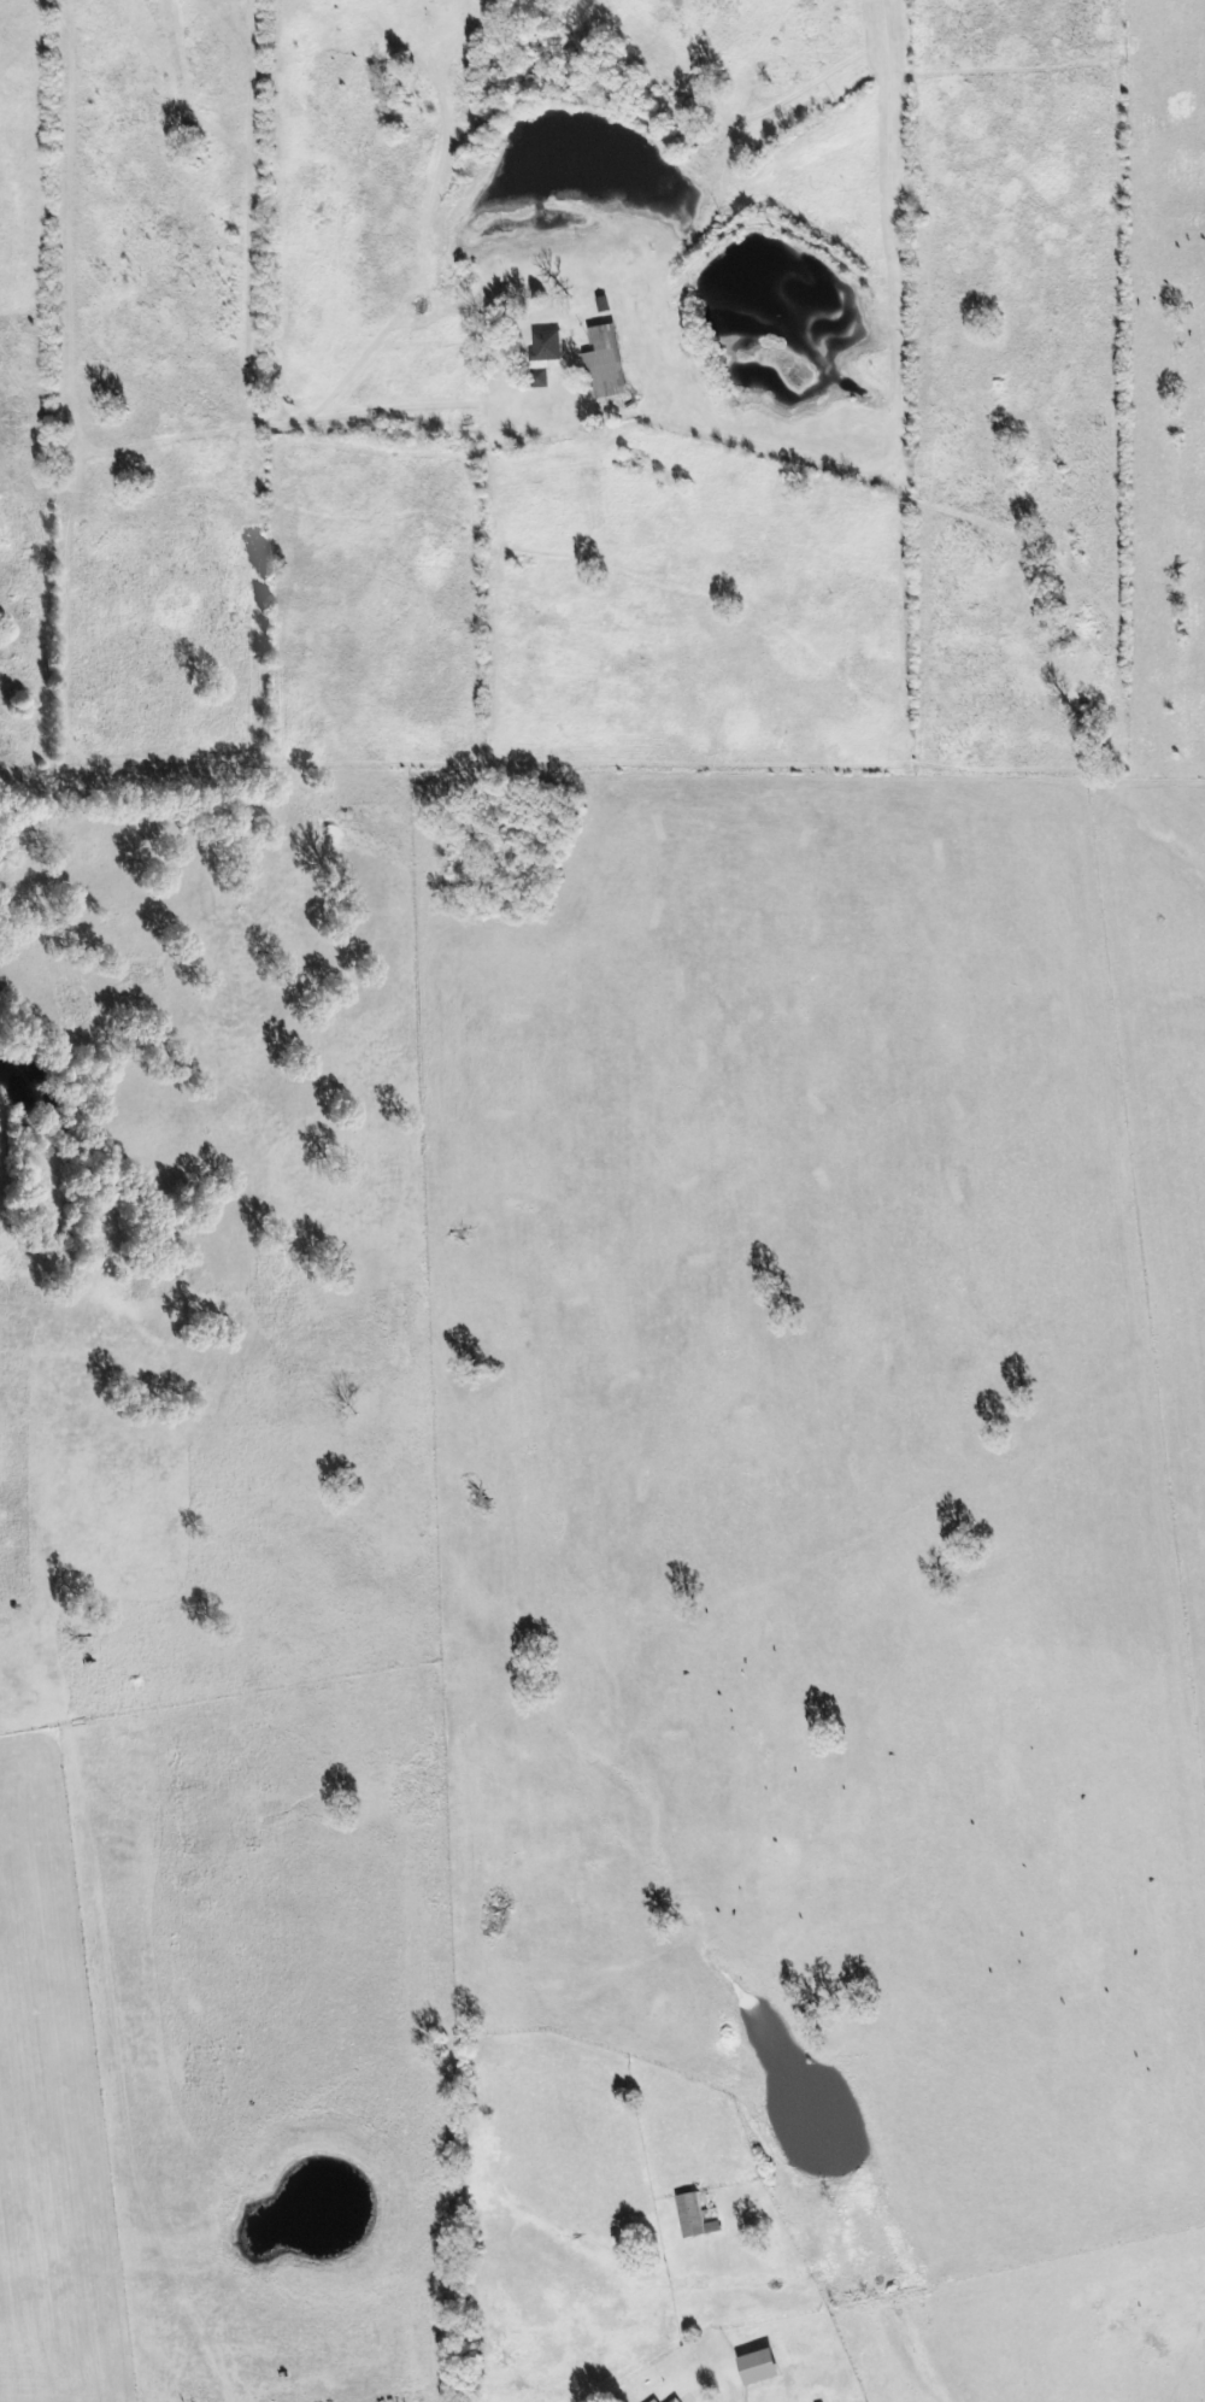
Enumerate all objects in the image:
building: (545, 353)
building: (605, 366)
building: (694, 2213)
building: (766, 2361)
road: (735, 2397)
building: (680, 2398)
building: (658, 2400)

